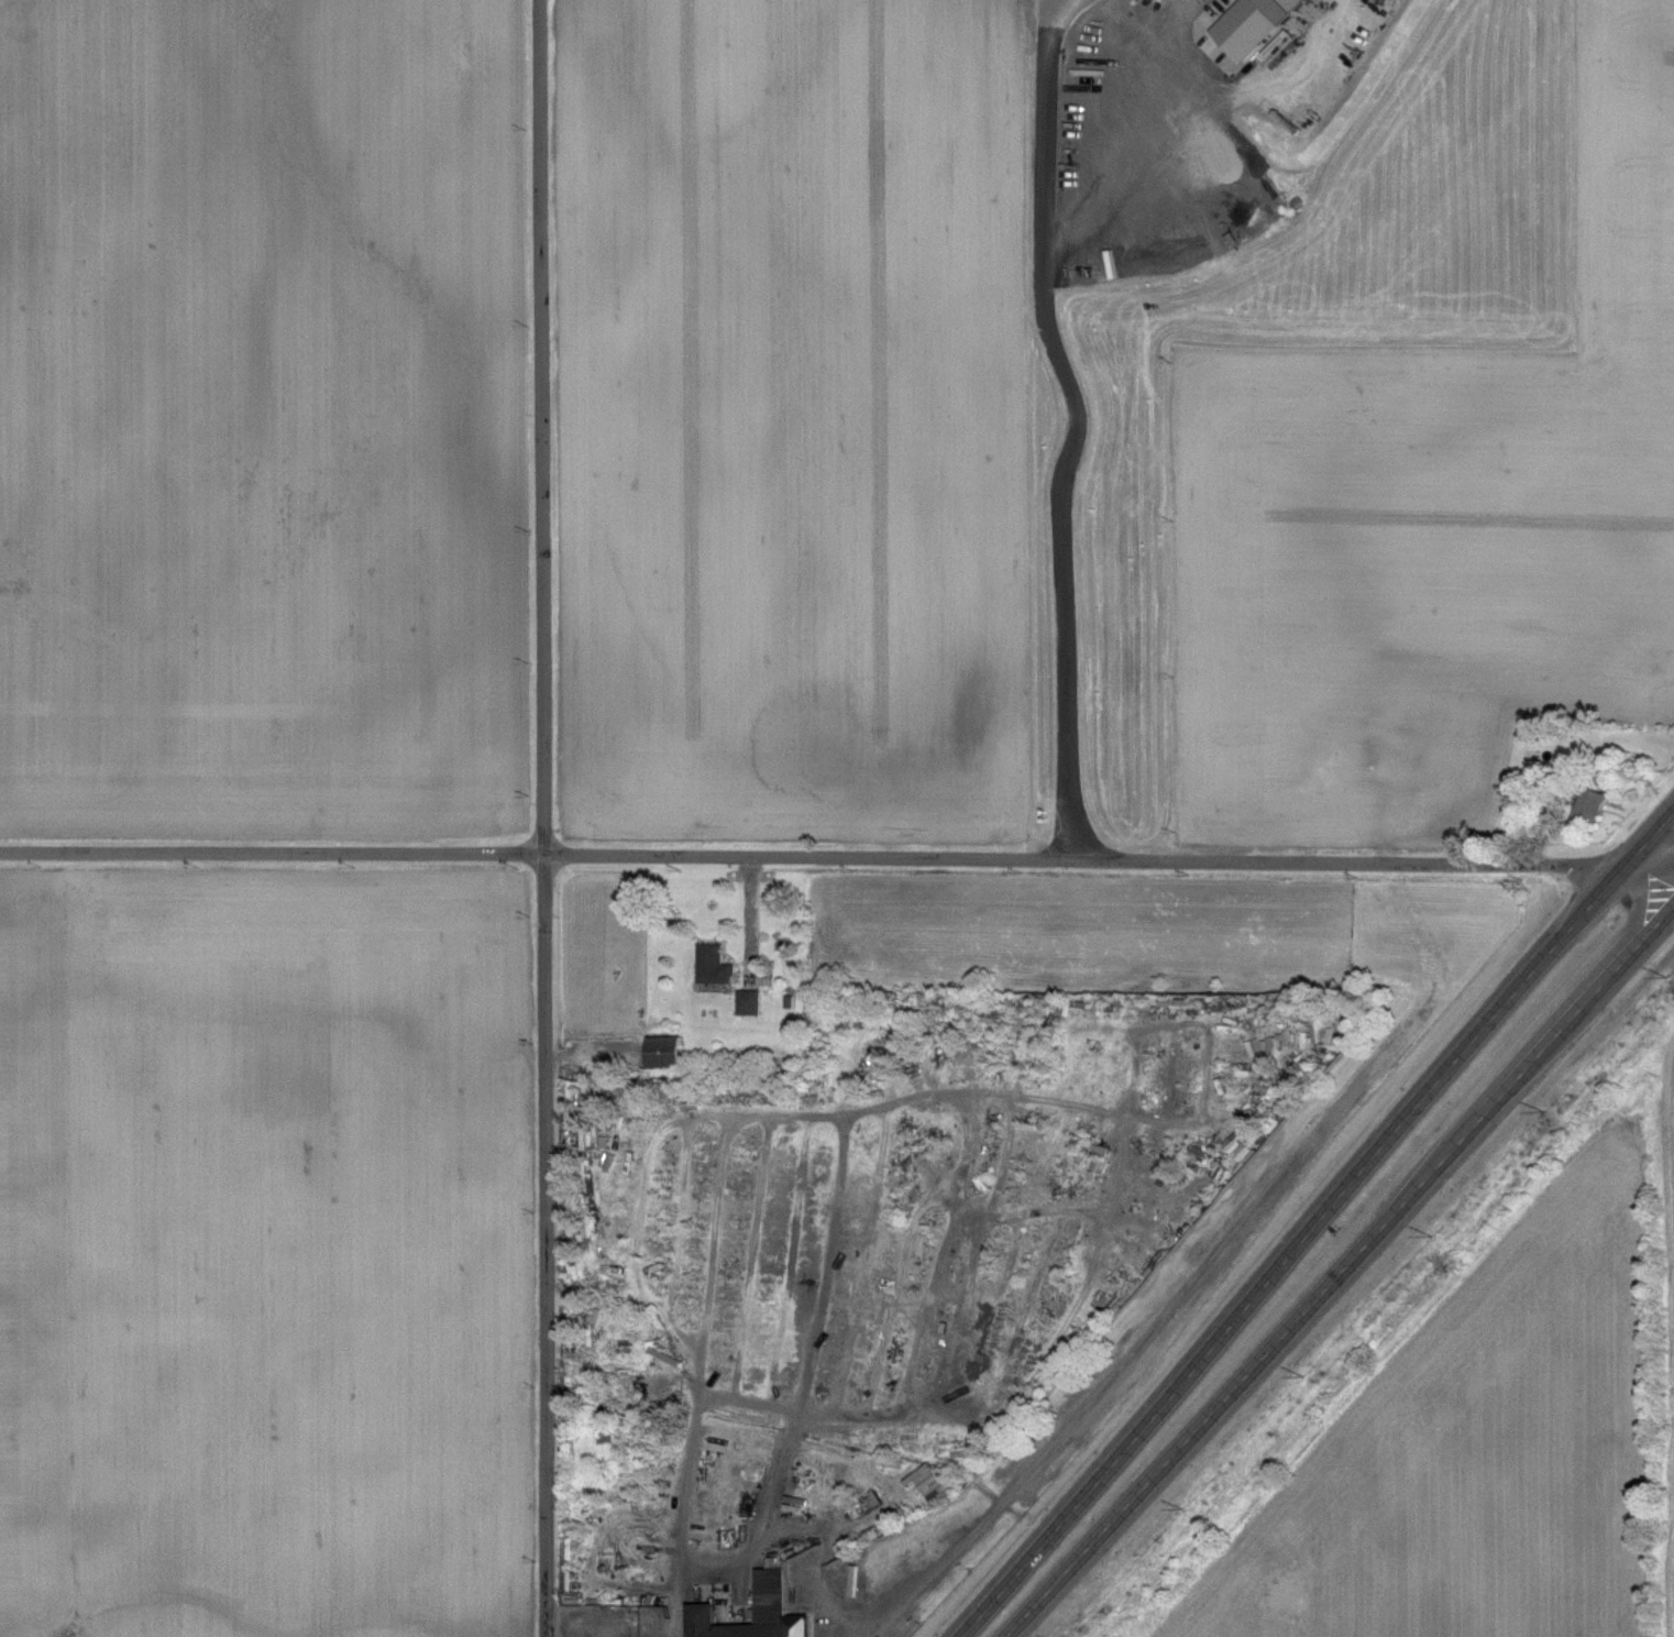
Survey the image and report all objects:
building: (1245, 30)
parking lot: (1166, 121)
road: (1071, 428)
building: (1589, 804)
road: (543, 817)
road: (811, 856)
road: (1648, 865)
building: (711, 965)
building: (746, 1002)
building: (1020, 1022)
building: (1287, 1041)
building: (660, 1052)
road: (1315, 1222)
road: (1344, 1274)
road: (1156, 1309)
building: (705, 1596)
parking lot: (852, 1614)
parking lot: (602, 1623)

